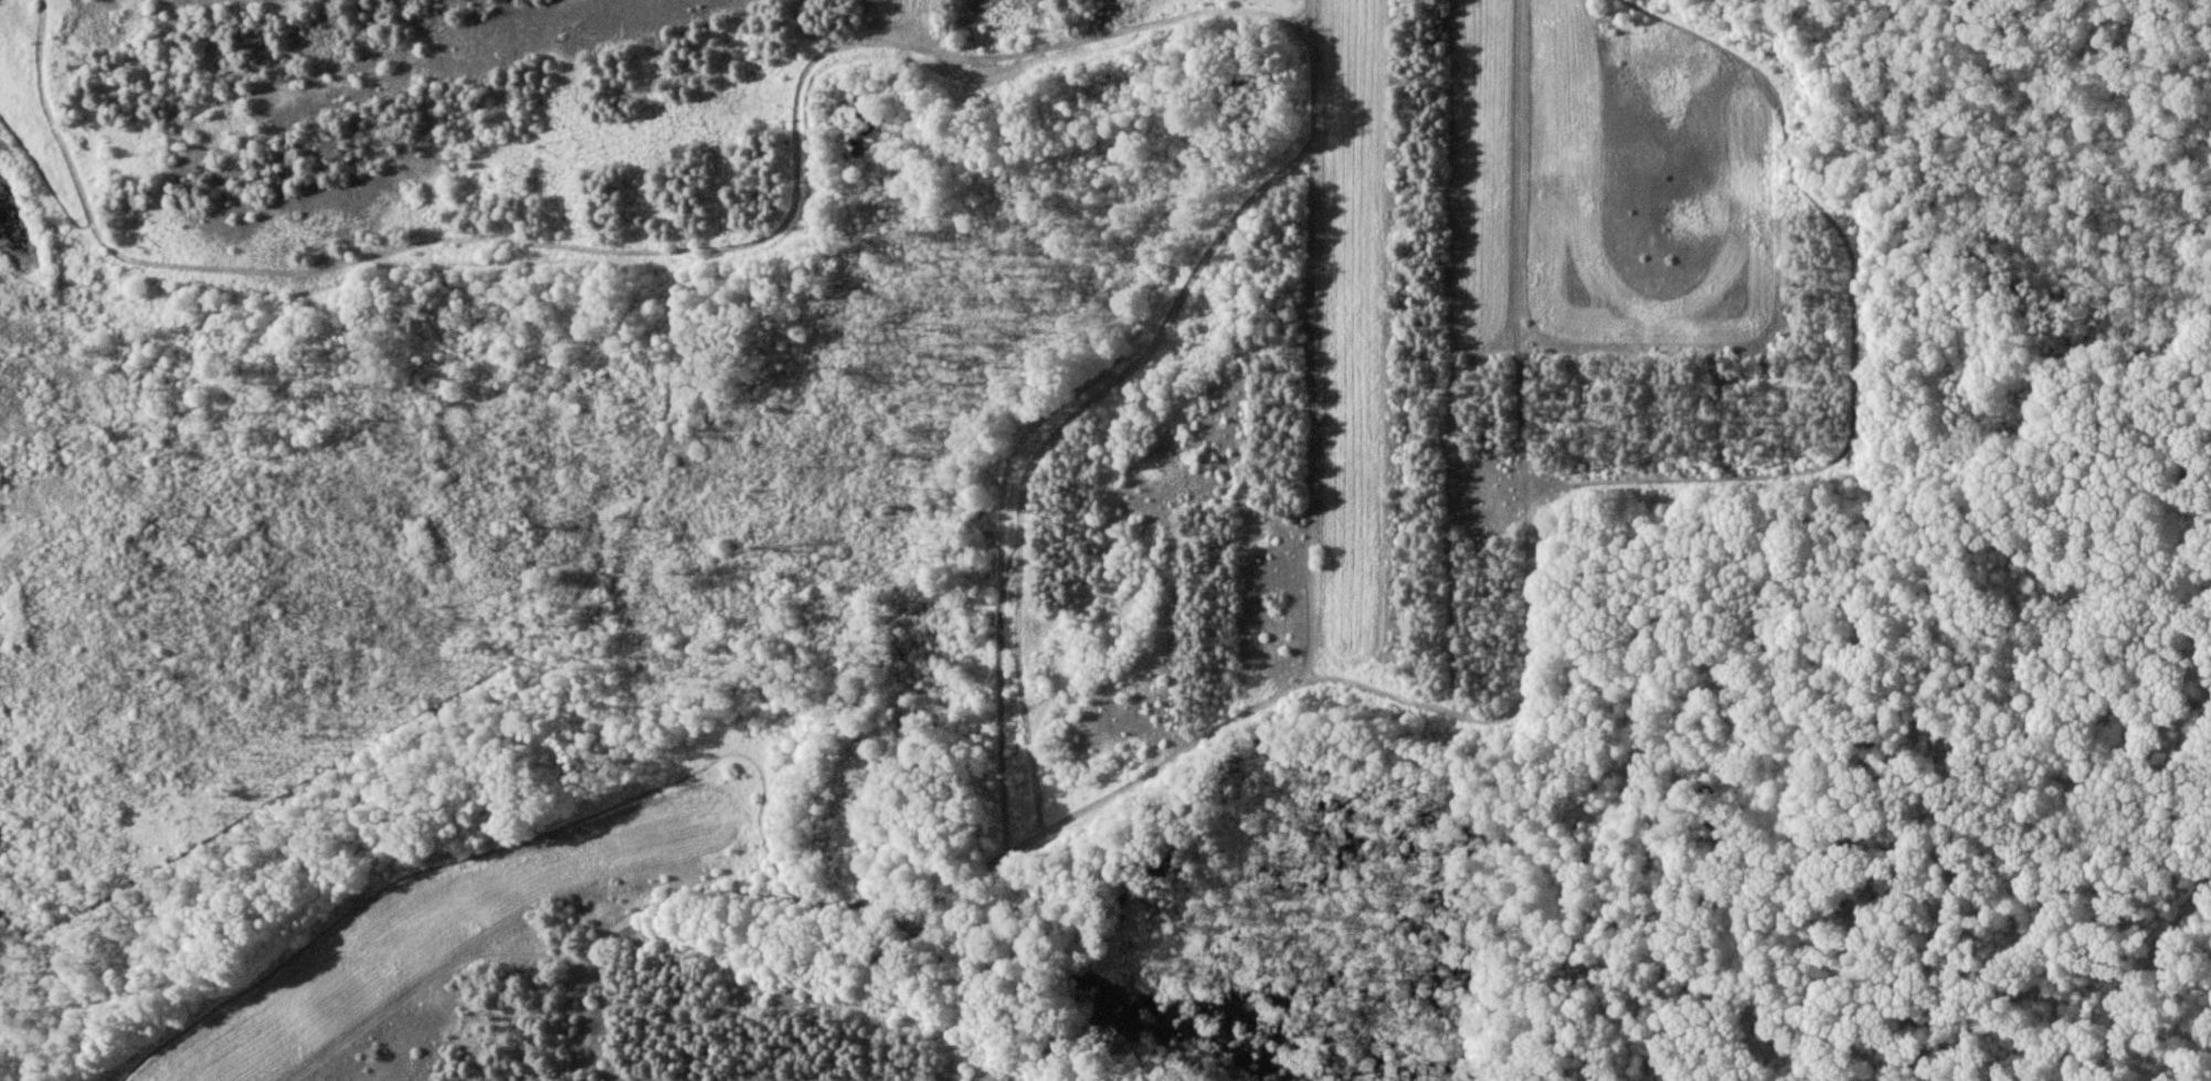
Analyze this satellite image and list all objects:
road: (1760, 478)

